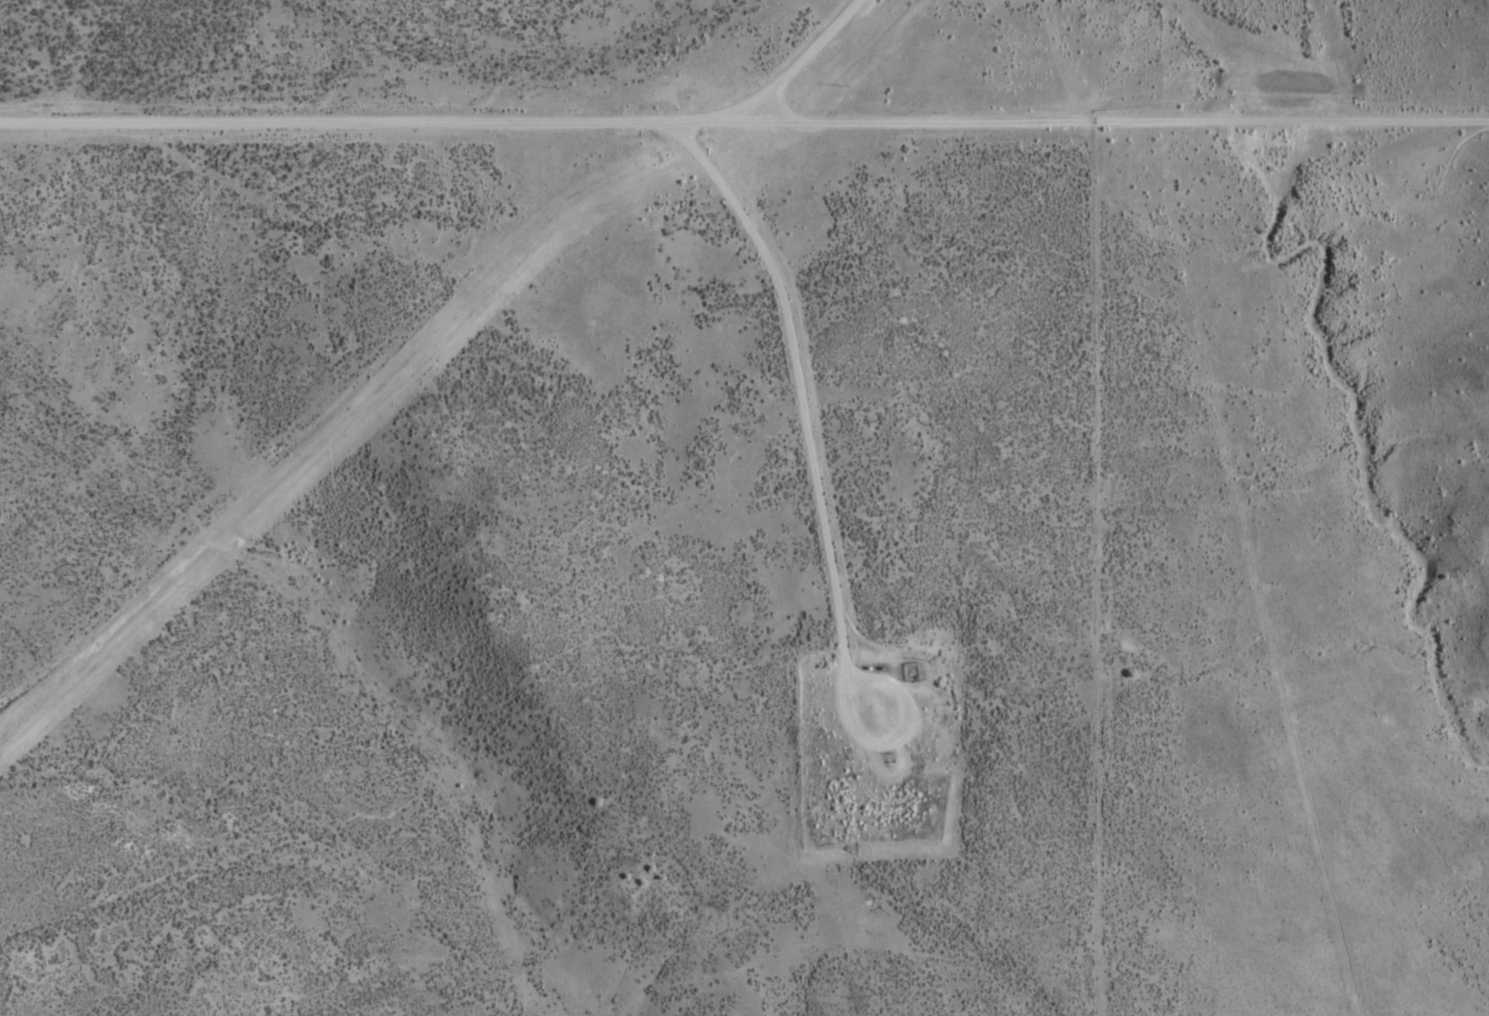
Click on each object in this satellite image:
road: (999, 58)
road: (744, 110)
road: (430, 357)

